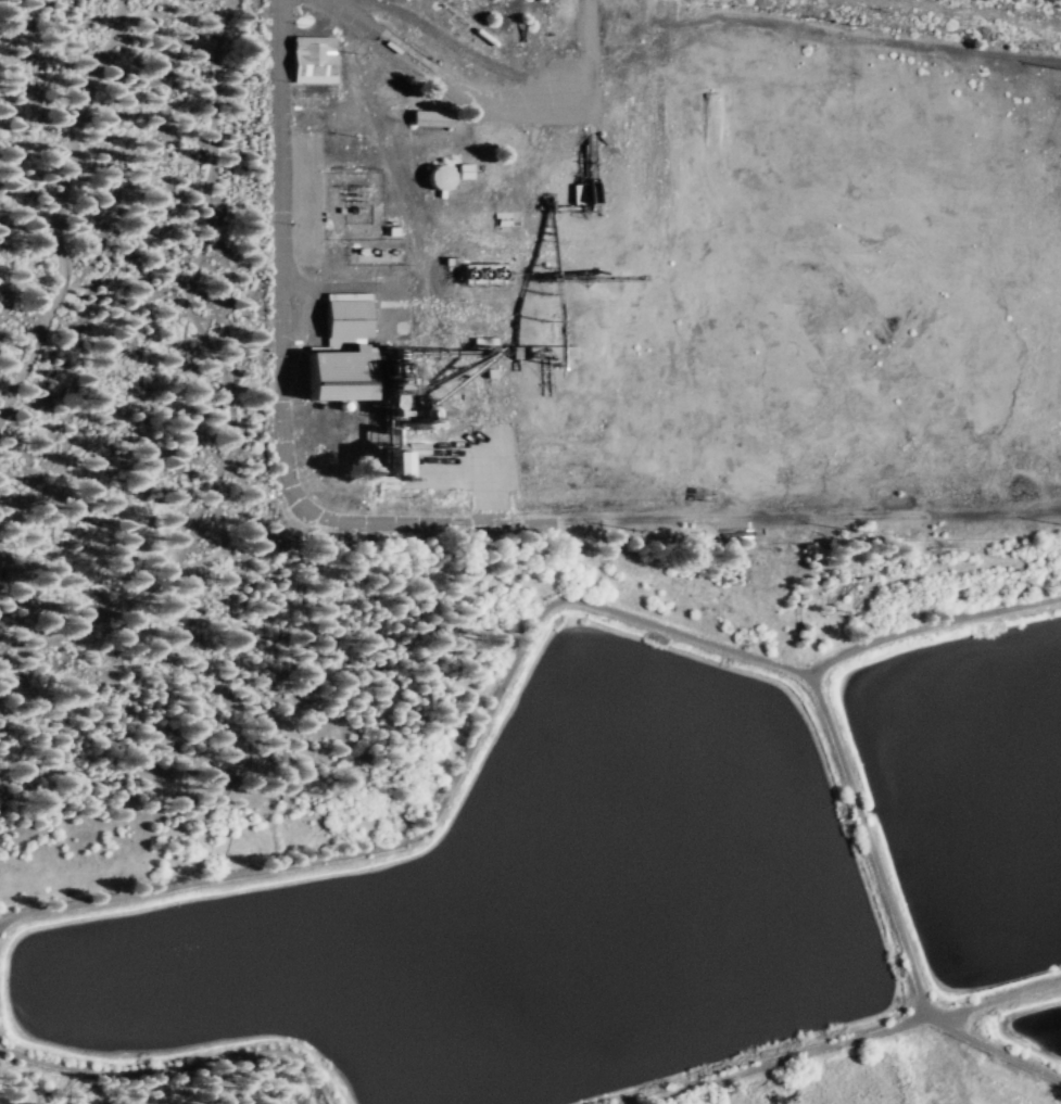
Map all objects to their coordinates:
road: (282, 280)
building: (341, 351)
building: (389, 459)
road: (513, 531)
wastewater plant: (968, 803)
wastewater plant: (509, 916)
wastewater plant: (1035, 1042)

